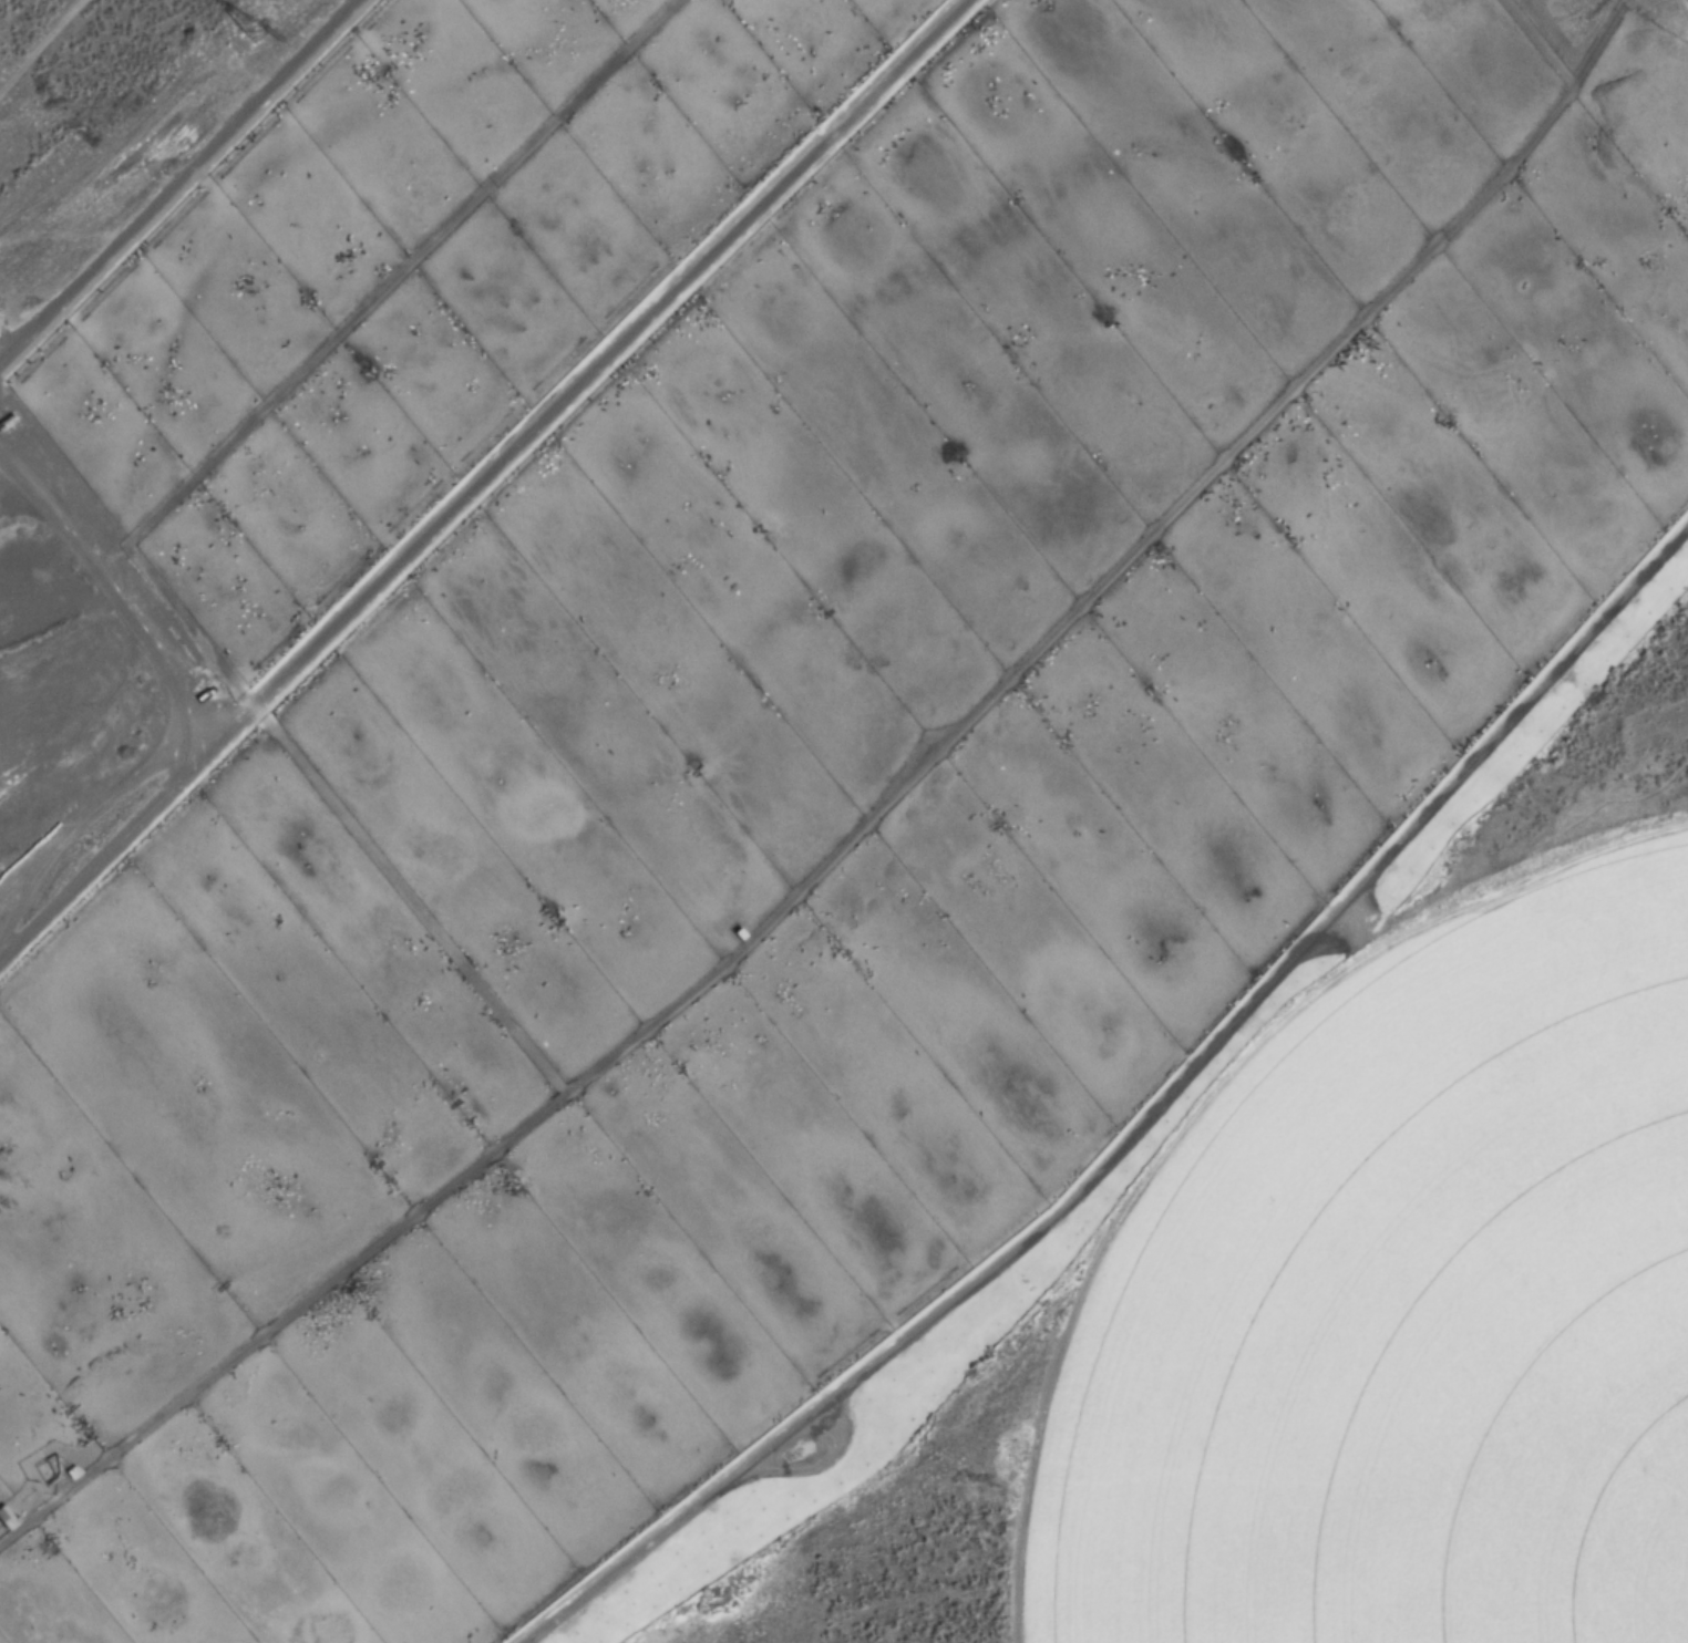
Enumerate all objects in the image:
power tower: (247, 25)
building: (7, 1519)
building: (631, 1642)

